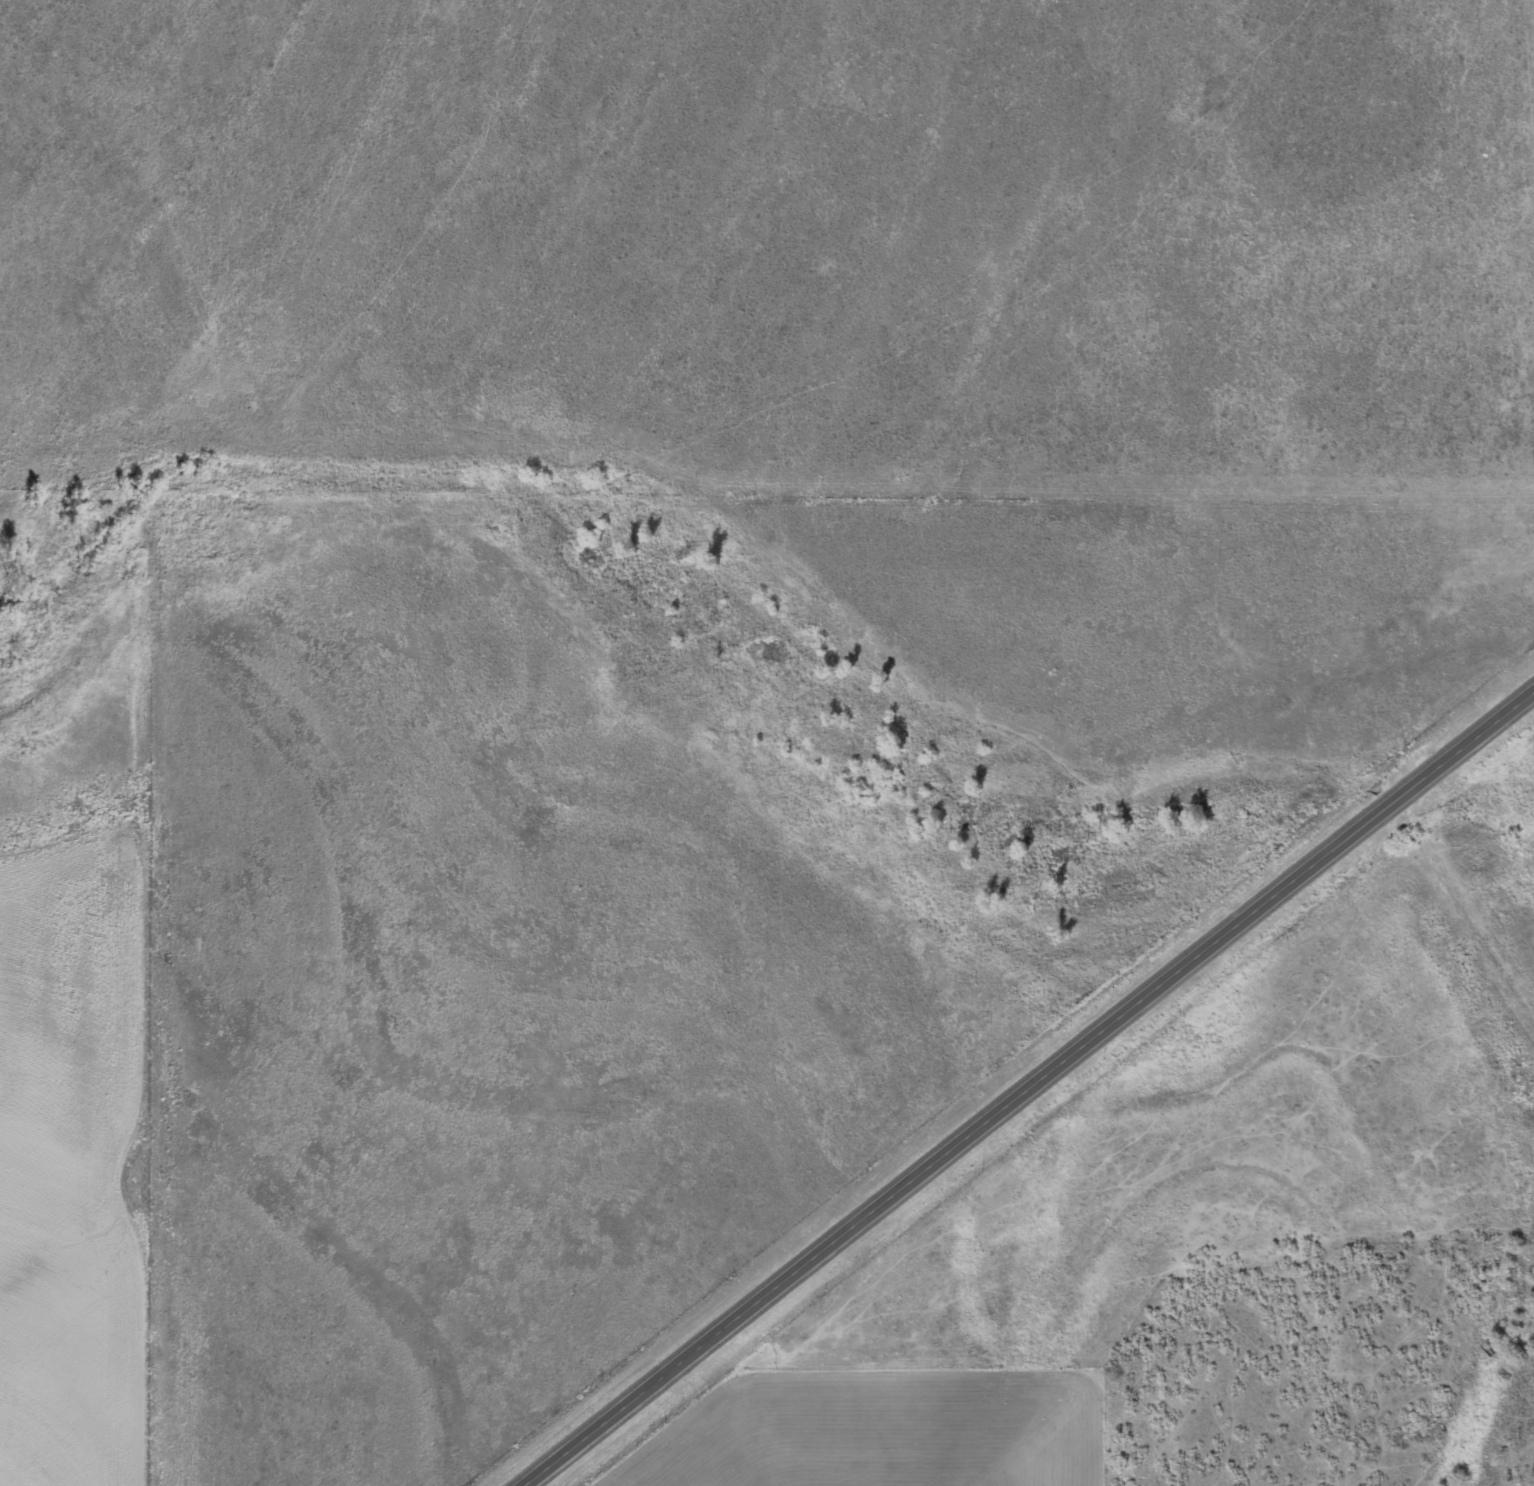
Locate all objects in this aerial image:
road: (1030, 1088)

